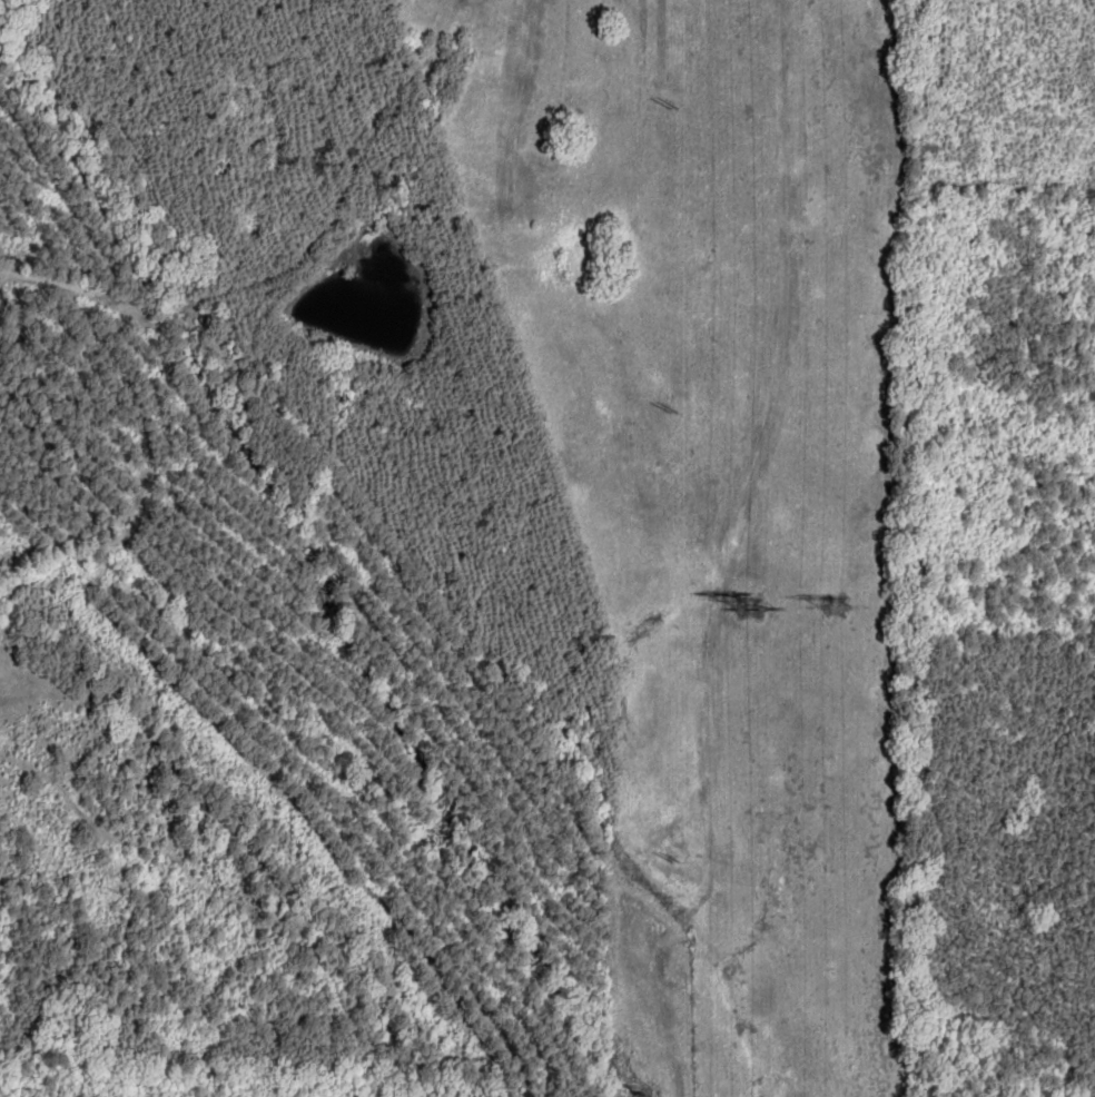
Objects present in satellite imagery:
power tower: (734, 601)
power tower: (832, 603)

